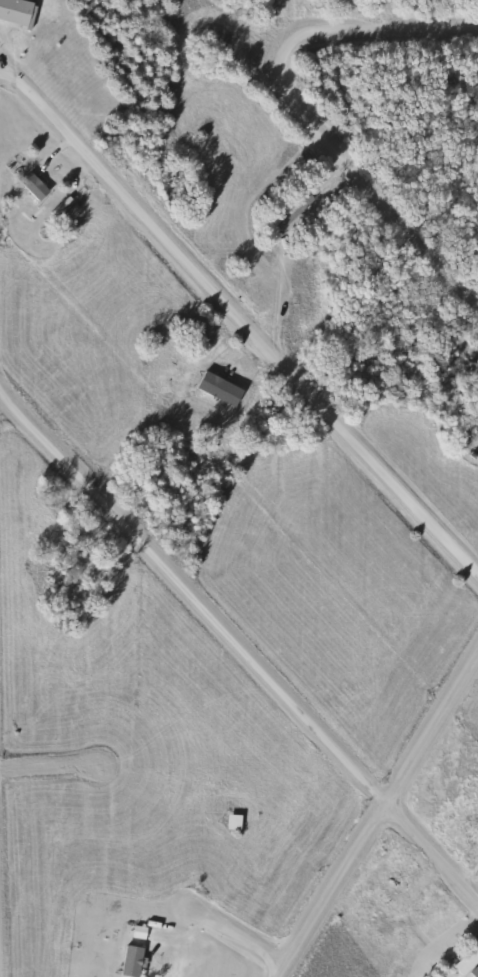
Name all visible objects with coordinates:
road: (379, 28)
road: (366, 182)
building: (32, 186)
road: (241, 316)
road: (236, 640)
road: (68, 784)
road: (377, 818)
building: (230, 822)
building: (463, 826)
building: (390, 884)
building: (136, 932)
road: (238, 939)
building: (128, 961)
building: (467, 964)

